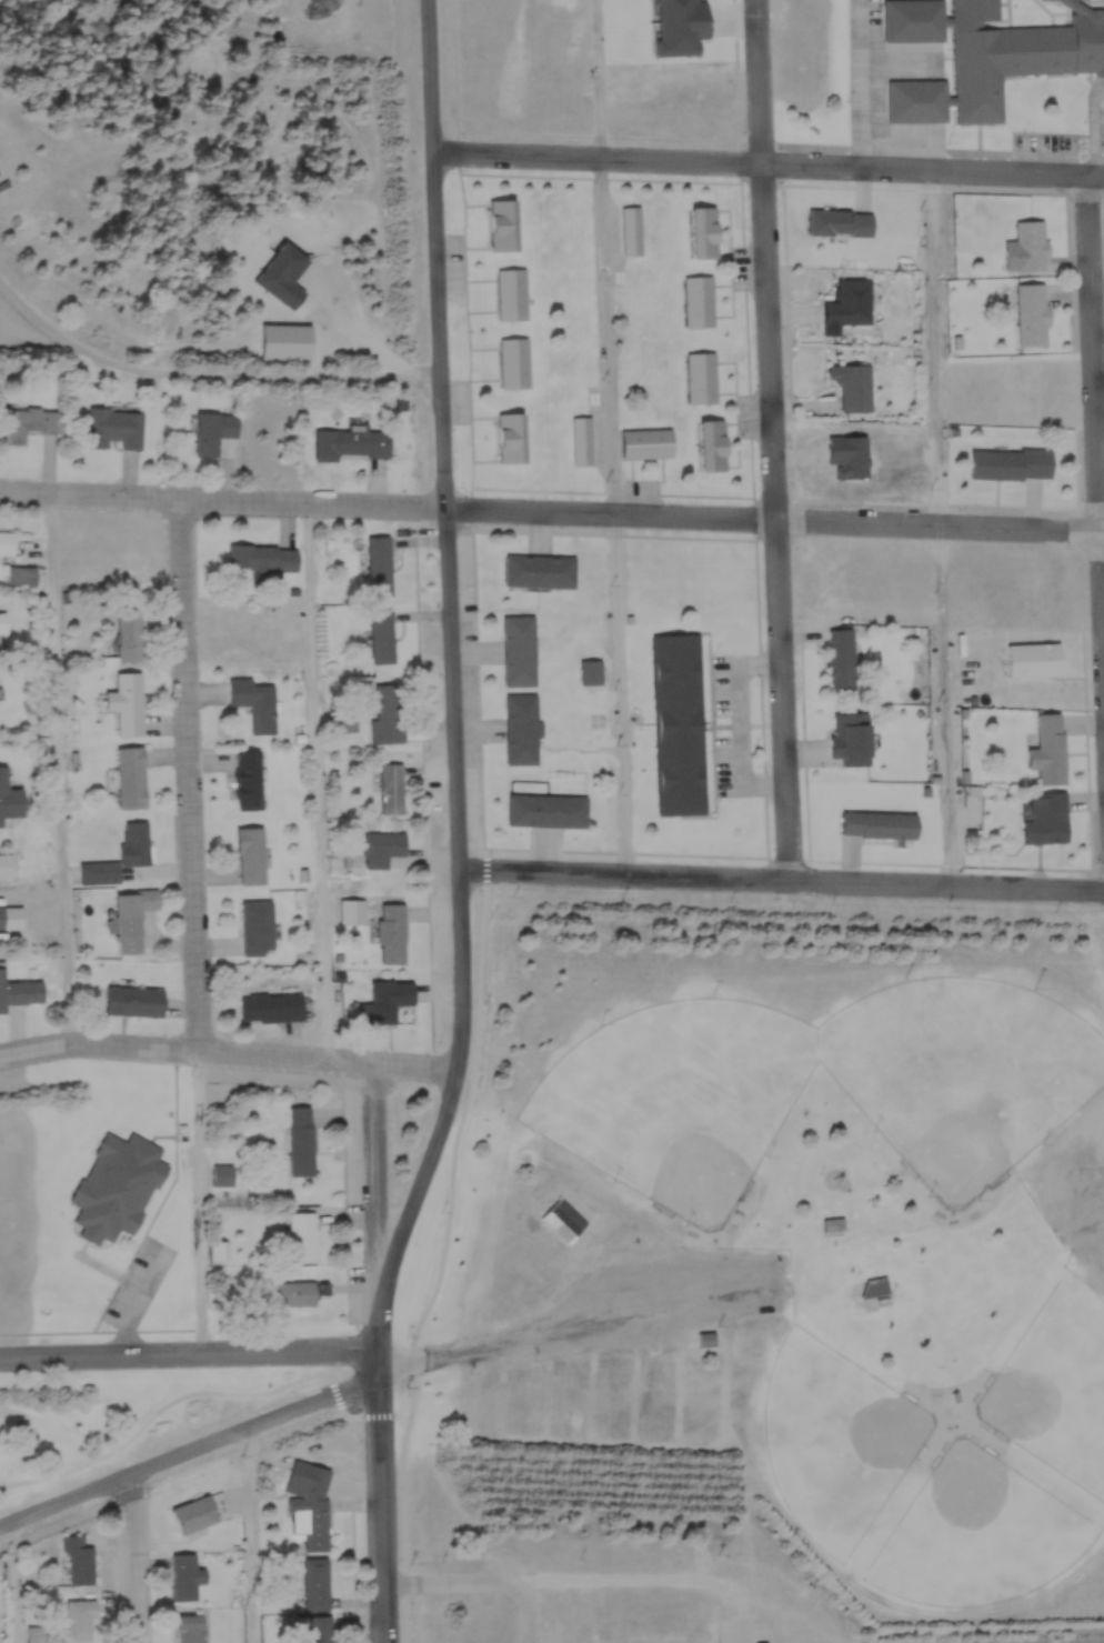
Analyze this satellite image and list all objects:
building: (914, 20)
building: (1014, 54)
building: (917, 101)
road: (602, 156)
road: (934, 169)
building: (840, 223)
building: (500, 226)
building: (632, 230)
building: (702, 232)
building: (1026, 240)
building: (512, 293)
building: (700, 301)
building: (851, 302)
building: (1033, 314)
road: (1096, 353)
building: (515, 362)
road: (205, 372)
building: (702, 378)
building: (853, 385)
building: (30, 422)
building: (114, 428)
building: (212, 431)
road: (614, 437)
building: (509, 438)
road: (777, 439)
building: (582, 440)
building: (350, 442)
building: (648, 442)
building: (711, 445)
building: (1010, 463)
road: (552, 509)
road: (934, 525)
building: (7, 538)
building: (263, 558)
building: (381, 564)
building: (20, 570)
building: (540, 570)
building: (2, 614)
building: (128, 634)
building: (382, 647)
building: (520, 649)
building: (841, 657)
building: (1033, 658)
building: (251, 697)
building: (129, 702)
building: (388, 712)
building: (679, 723)
building: (521, 728)
building: (850, 738)
building: (1050, 747)
road: (54, 771)
road: (195, 774)
building: (131, 777)
building: (247, 779)
road: (312, 779)
building: (392, 788)
building: (9, 793)
building: (548, 810)
building: (1046, 817)
building: (879, 823)
road: (460, 828)
building: (138, 841)
building: (382, 846)
building: (250, 854)
building: (101, 871)
building: (7, 872)
road: (628, 873)
road: (949, 883)
building: (10, 912)
building: (132, 918)
building: (257, 925)
building: (392, 932)
building: (20, 988)
building: (385, 999)
building: (132, 1000)
building: (271, 1005)
road: (230, 1053)
park: (964, 1073)
park: (680, 1099)
building: (300, 1140)
road: (380, 1168)
building: (117, 1186)
road: (203, 1201)
building: (565, 1221)
building: (835, 1225)
building: (302, 1235)
road: (1096, 1235)
building: (221, 1251)
building: (875, 1286)
building: (298, 1292)
road: (140, 1299)
road: (584, 1324)
building: (707, 1340)
road: (190, 1351)
park: (1057, 1383)
road: (164, 1411)
park: (117, 1422)
park: (839, 1437)
road: (193, 1450)
building: (308, 1504)
building: (200, 1511)
park: (980, 1532)
road: (257, 1534)
road: (136, 1559)
building: (79, 1561)
building: (184, 1576)
road: (484, 1581)
road: (19, 1582)
building: (315, 1582)
building: (81, 1621)
building: (317, 1627)
building: (190, 1629)
parking lot: (750, 1636)
road: (750, 1641)

